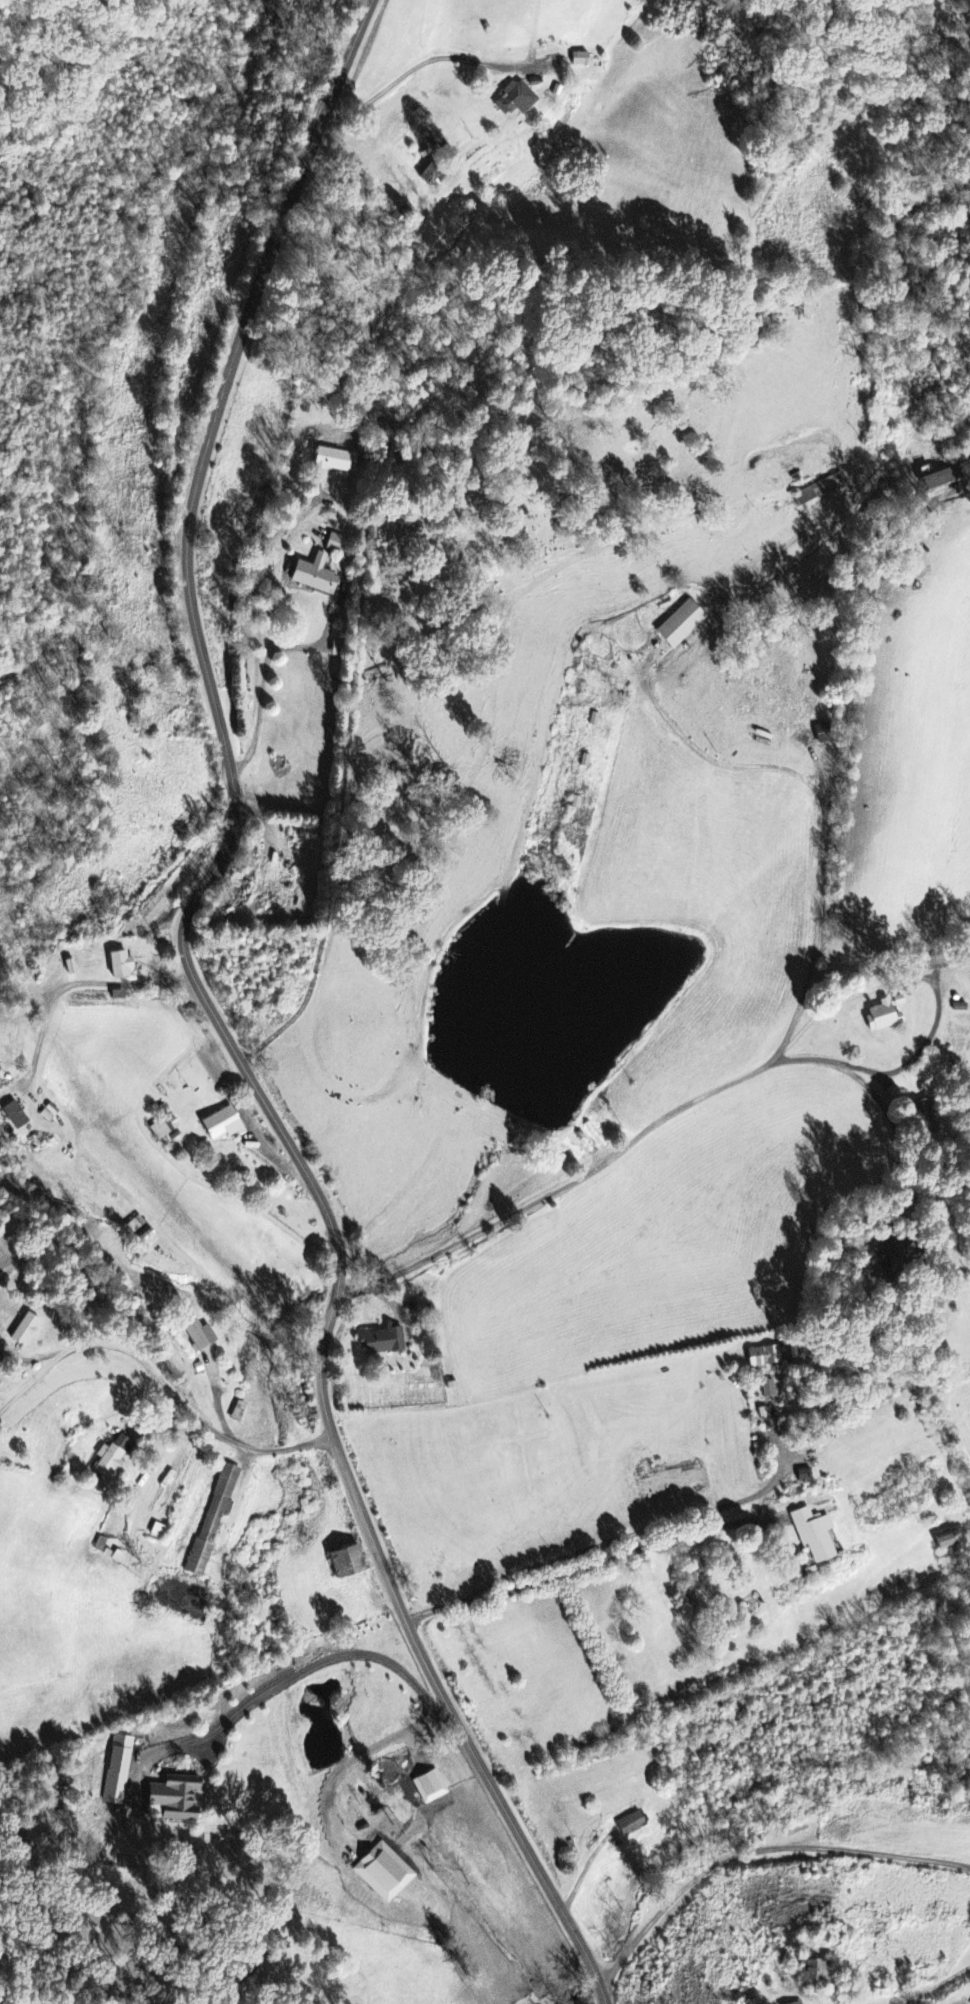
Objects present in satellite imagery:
building: (578, 60)
building: (514, 100)
building: (393, 216)
building: (334, 461)
building: (943, 479)
building: (819, 489)
building: (334, 544)
building: (314, 577)
building: (679, 625)
building: (822, 734)
road: (848, 749)
road: (727, 763)
building: (117, 965)
building: (67, 967)
building: (879, 1017)
road: (223, 1019)
road: (626, 1113)
building: (12, 1116)
building: (218, 1126)
building: (163, 1129)
building: (880, 1252)
building: (18, 1331)
building: (199, 1336)
building: (381, 1342)
building: (761, 1357)
road: (159, 1379)
building: (766, 1389)
building: (110, 1459)
building: (212, 1517)
building: (155, 1532)
building: (812, 1535)
building: (943, 1544)
road: (607, 1561)
building: (344, 1563)
building: (117, 1770)
building: (428, 1786)
building: (171, 1798)
building: (629, 1824)
road: (753, 1854)
building: (383, 1872)
building: (969, 1914)
building: (810, 1973)
building: (798, 2003)

